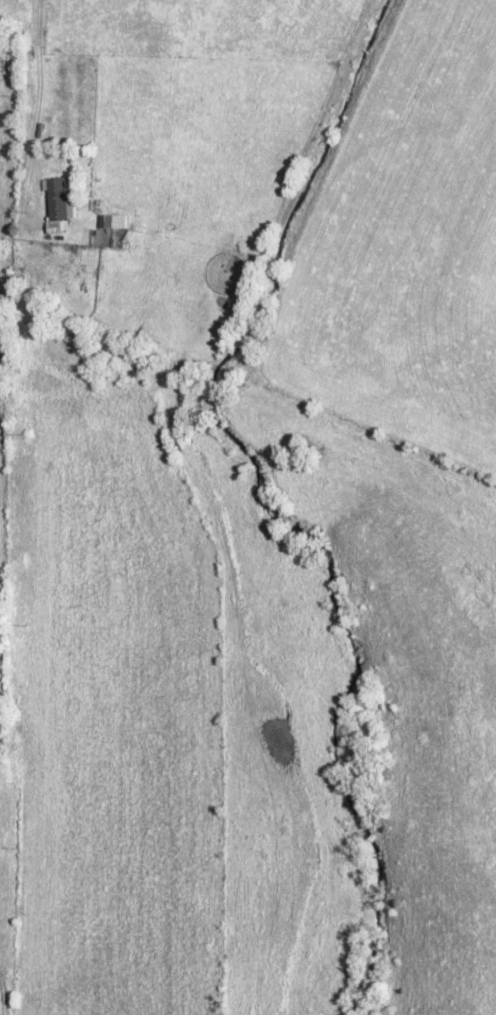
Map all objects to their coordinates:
road: (39, 65)
building: (56, 203)
building: (107, 222)

